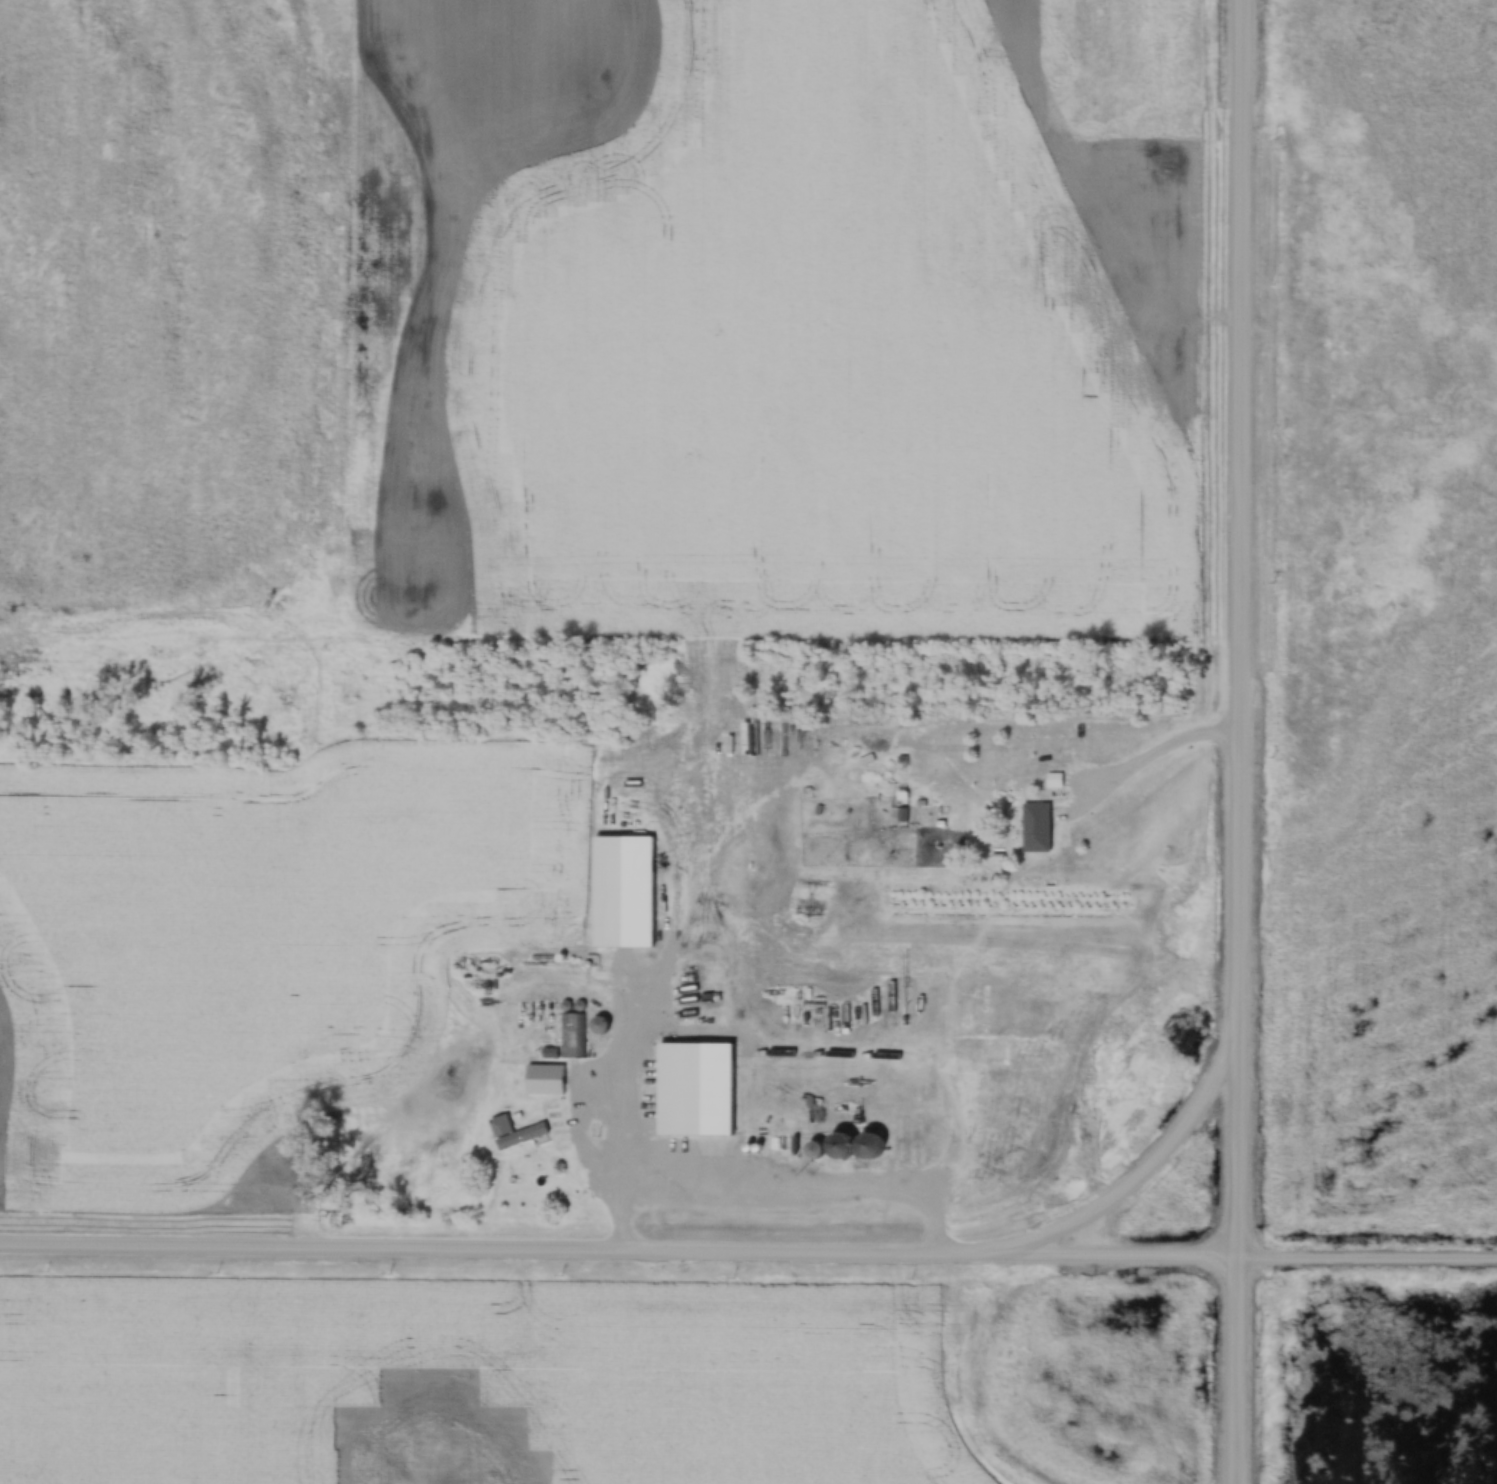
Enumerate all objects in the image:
road: (1237, 742)
building: (1053, 778)
building: (1035, 825)
building: (1157, 964)
building: (1159, 983)
building: (598, 1022)
building: (570, 1033)
building: (544, 1077)
building: (513, 1130)
building: (688, 1141)
road: (1123, 1189)
road: (748, 1253)

